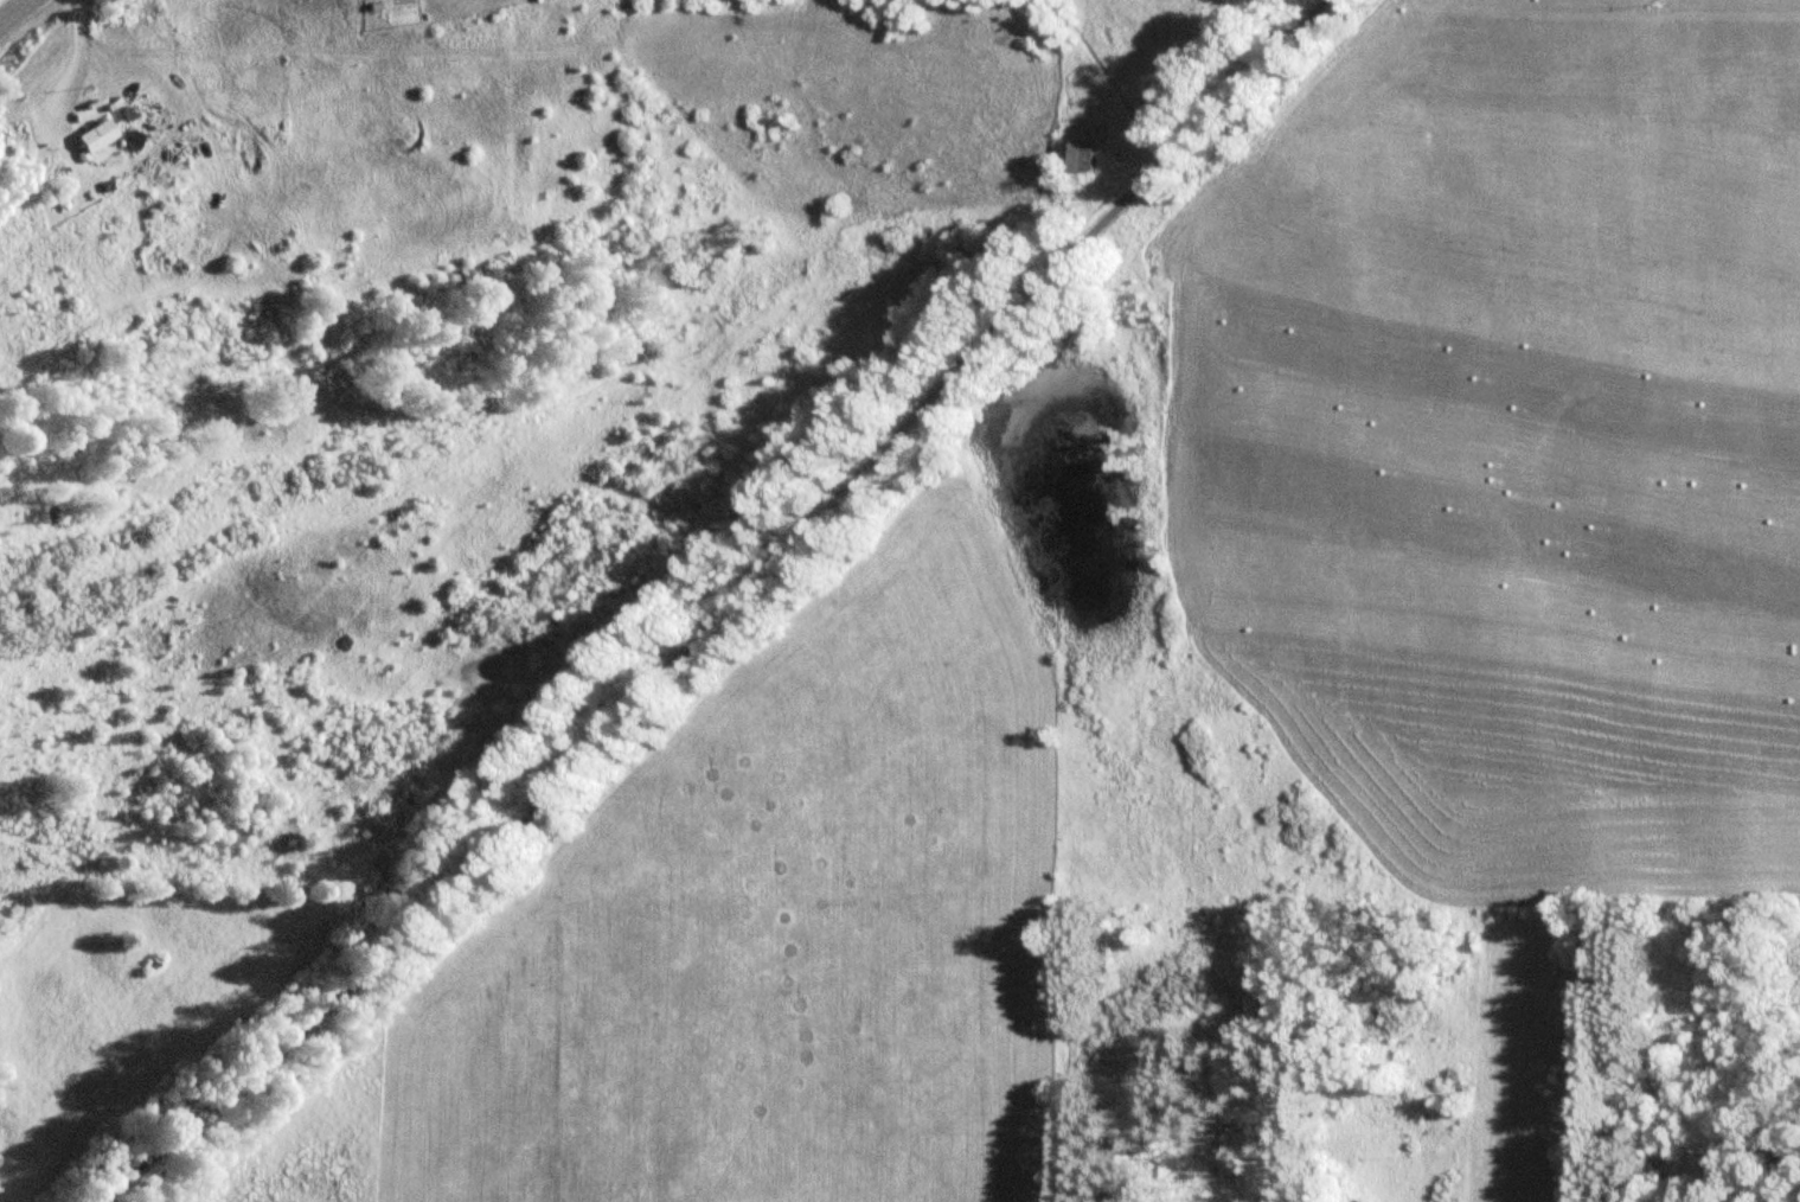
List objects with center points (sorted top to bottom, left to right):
road: (9, 7)
building: (100, 136)
building: (1084, 158)
road: (715, 612)

